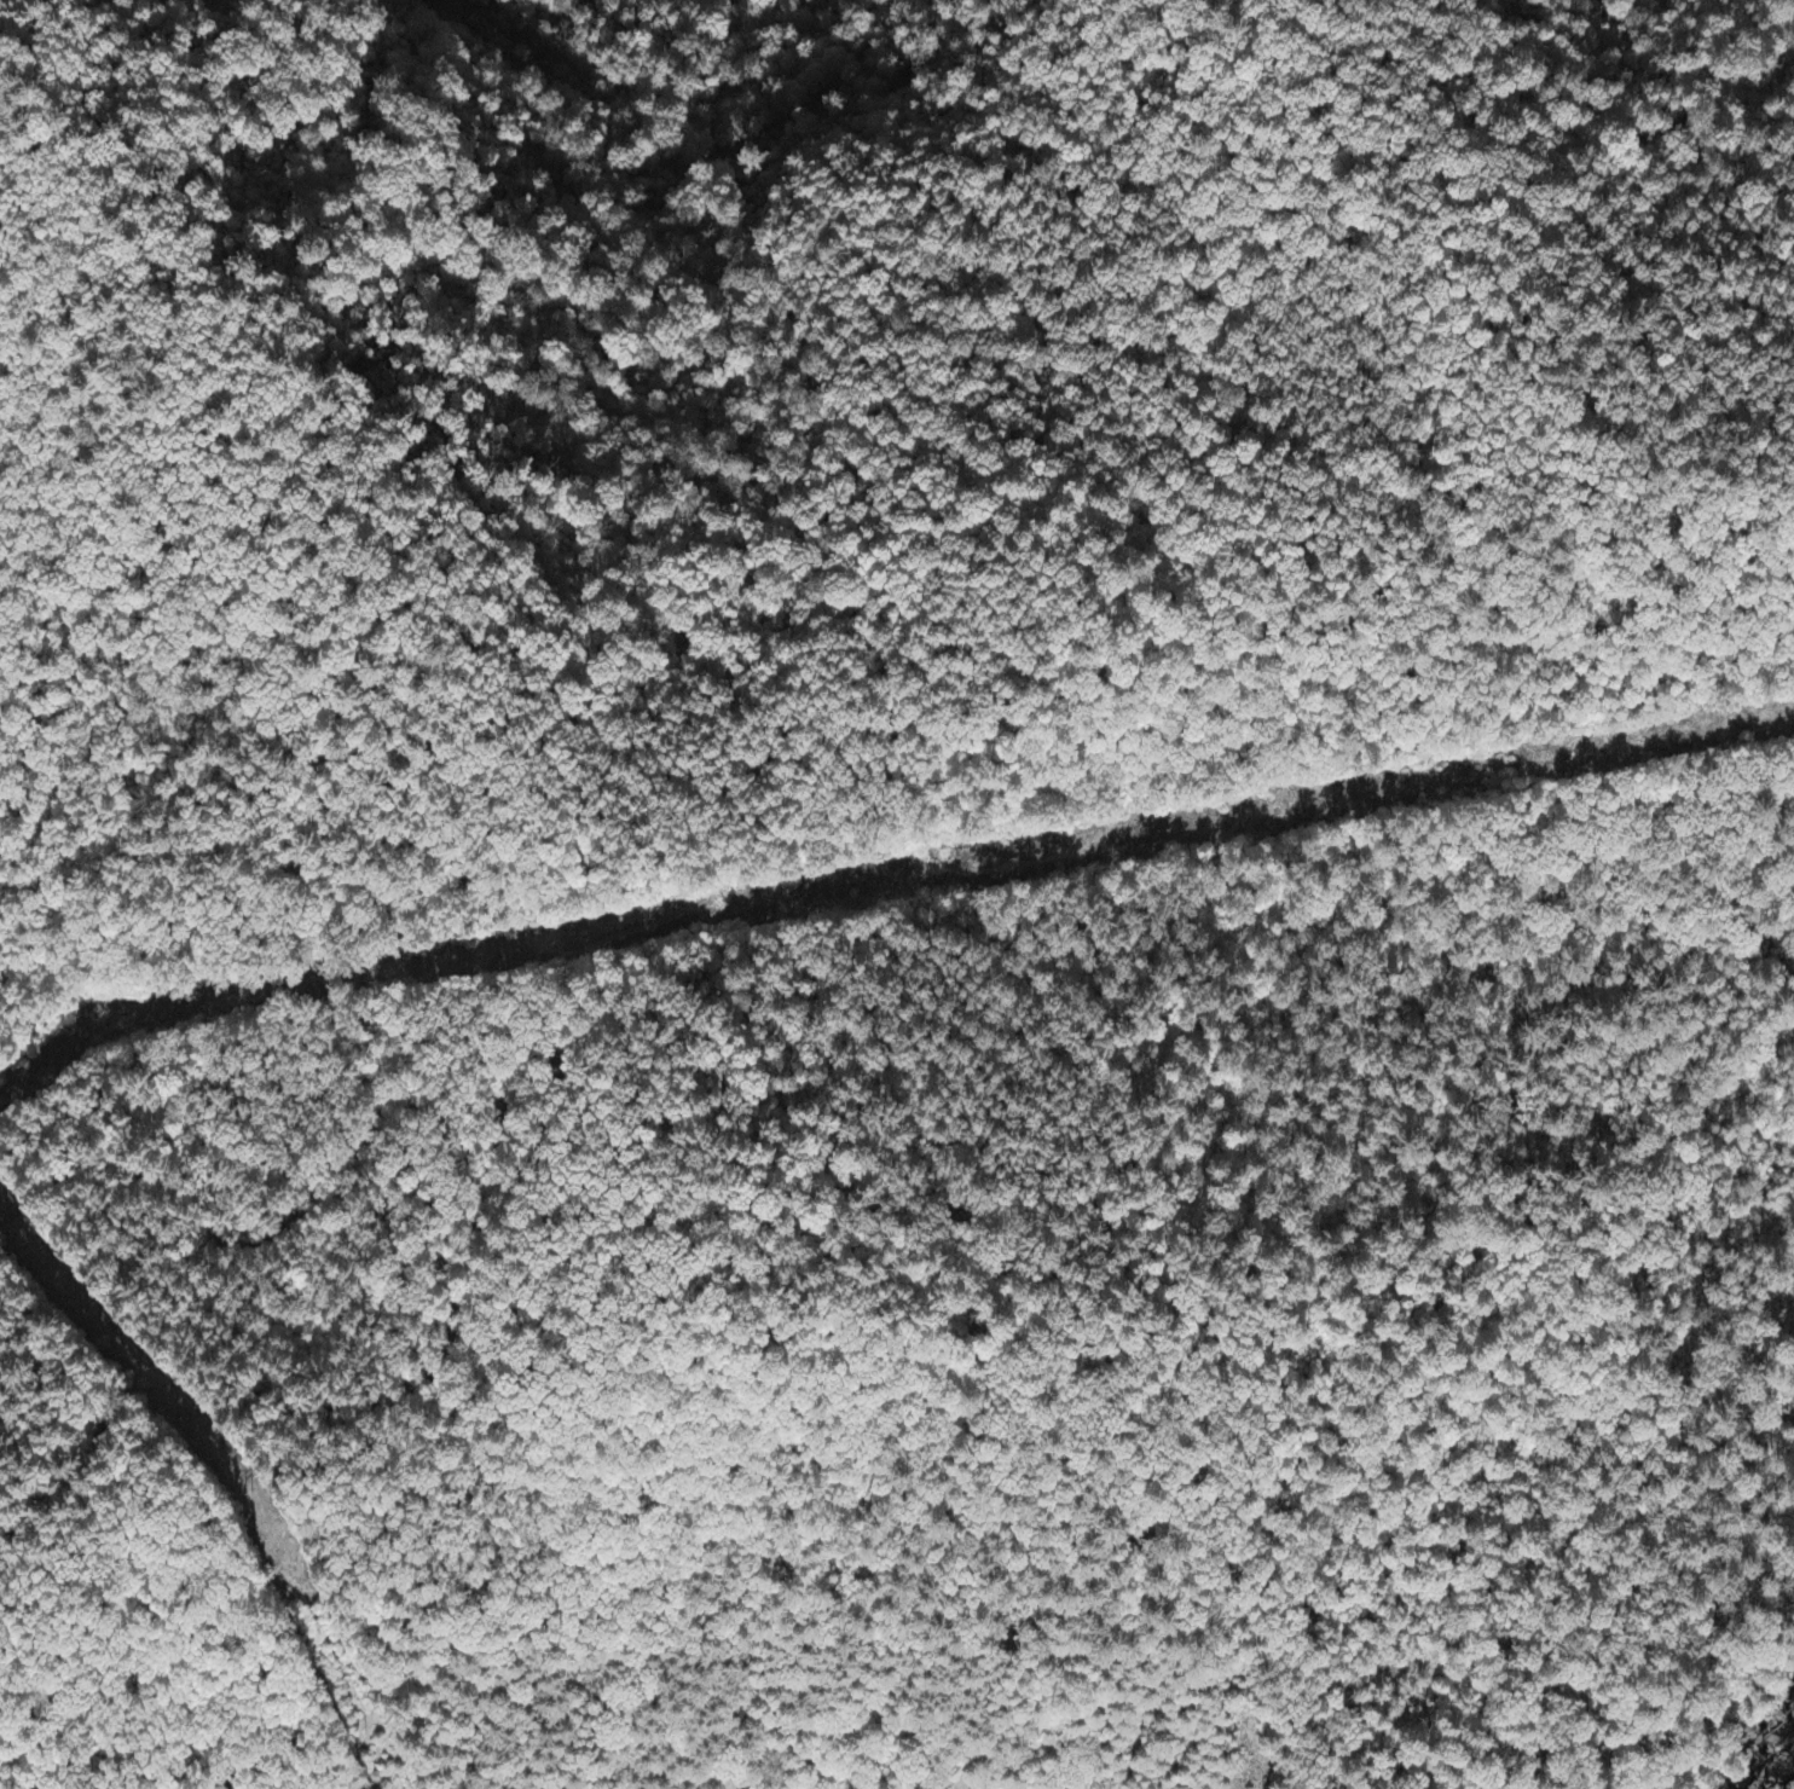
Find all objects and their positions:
river: (1770, 1614)

